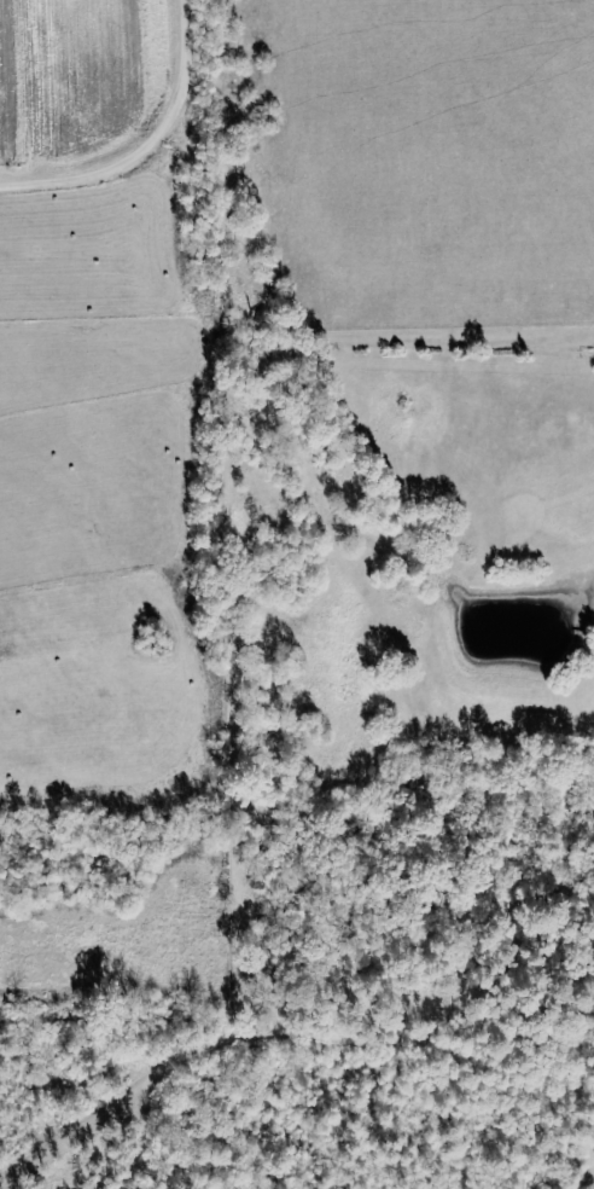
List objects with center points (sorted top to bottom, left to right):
road: (150, 149)

